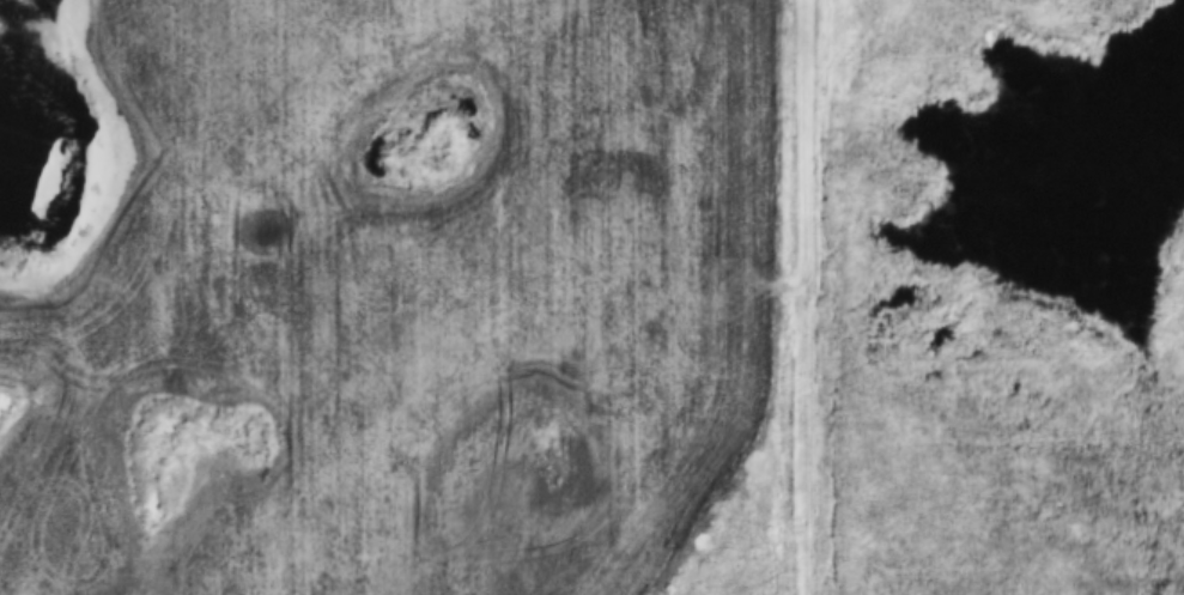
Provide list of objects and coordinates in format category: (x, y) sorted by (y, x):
road: (808, 297)

